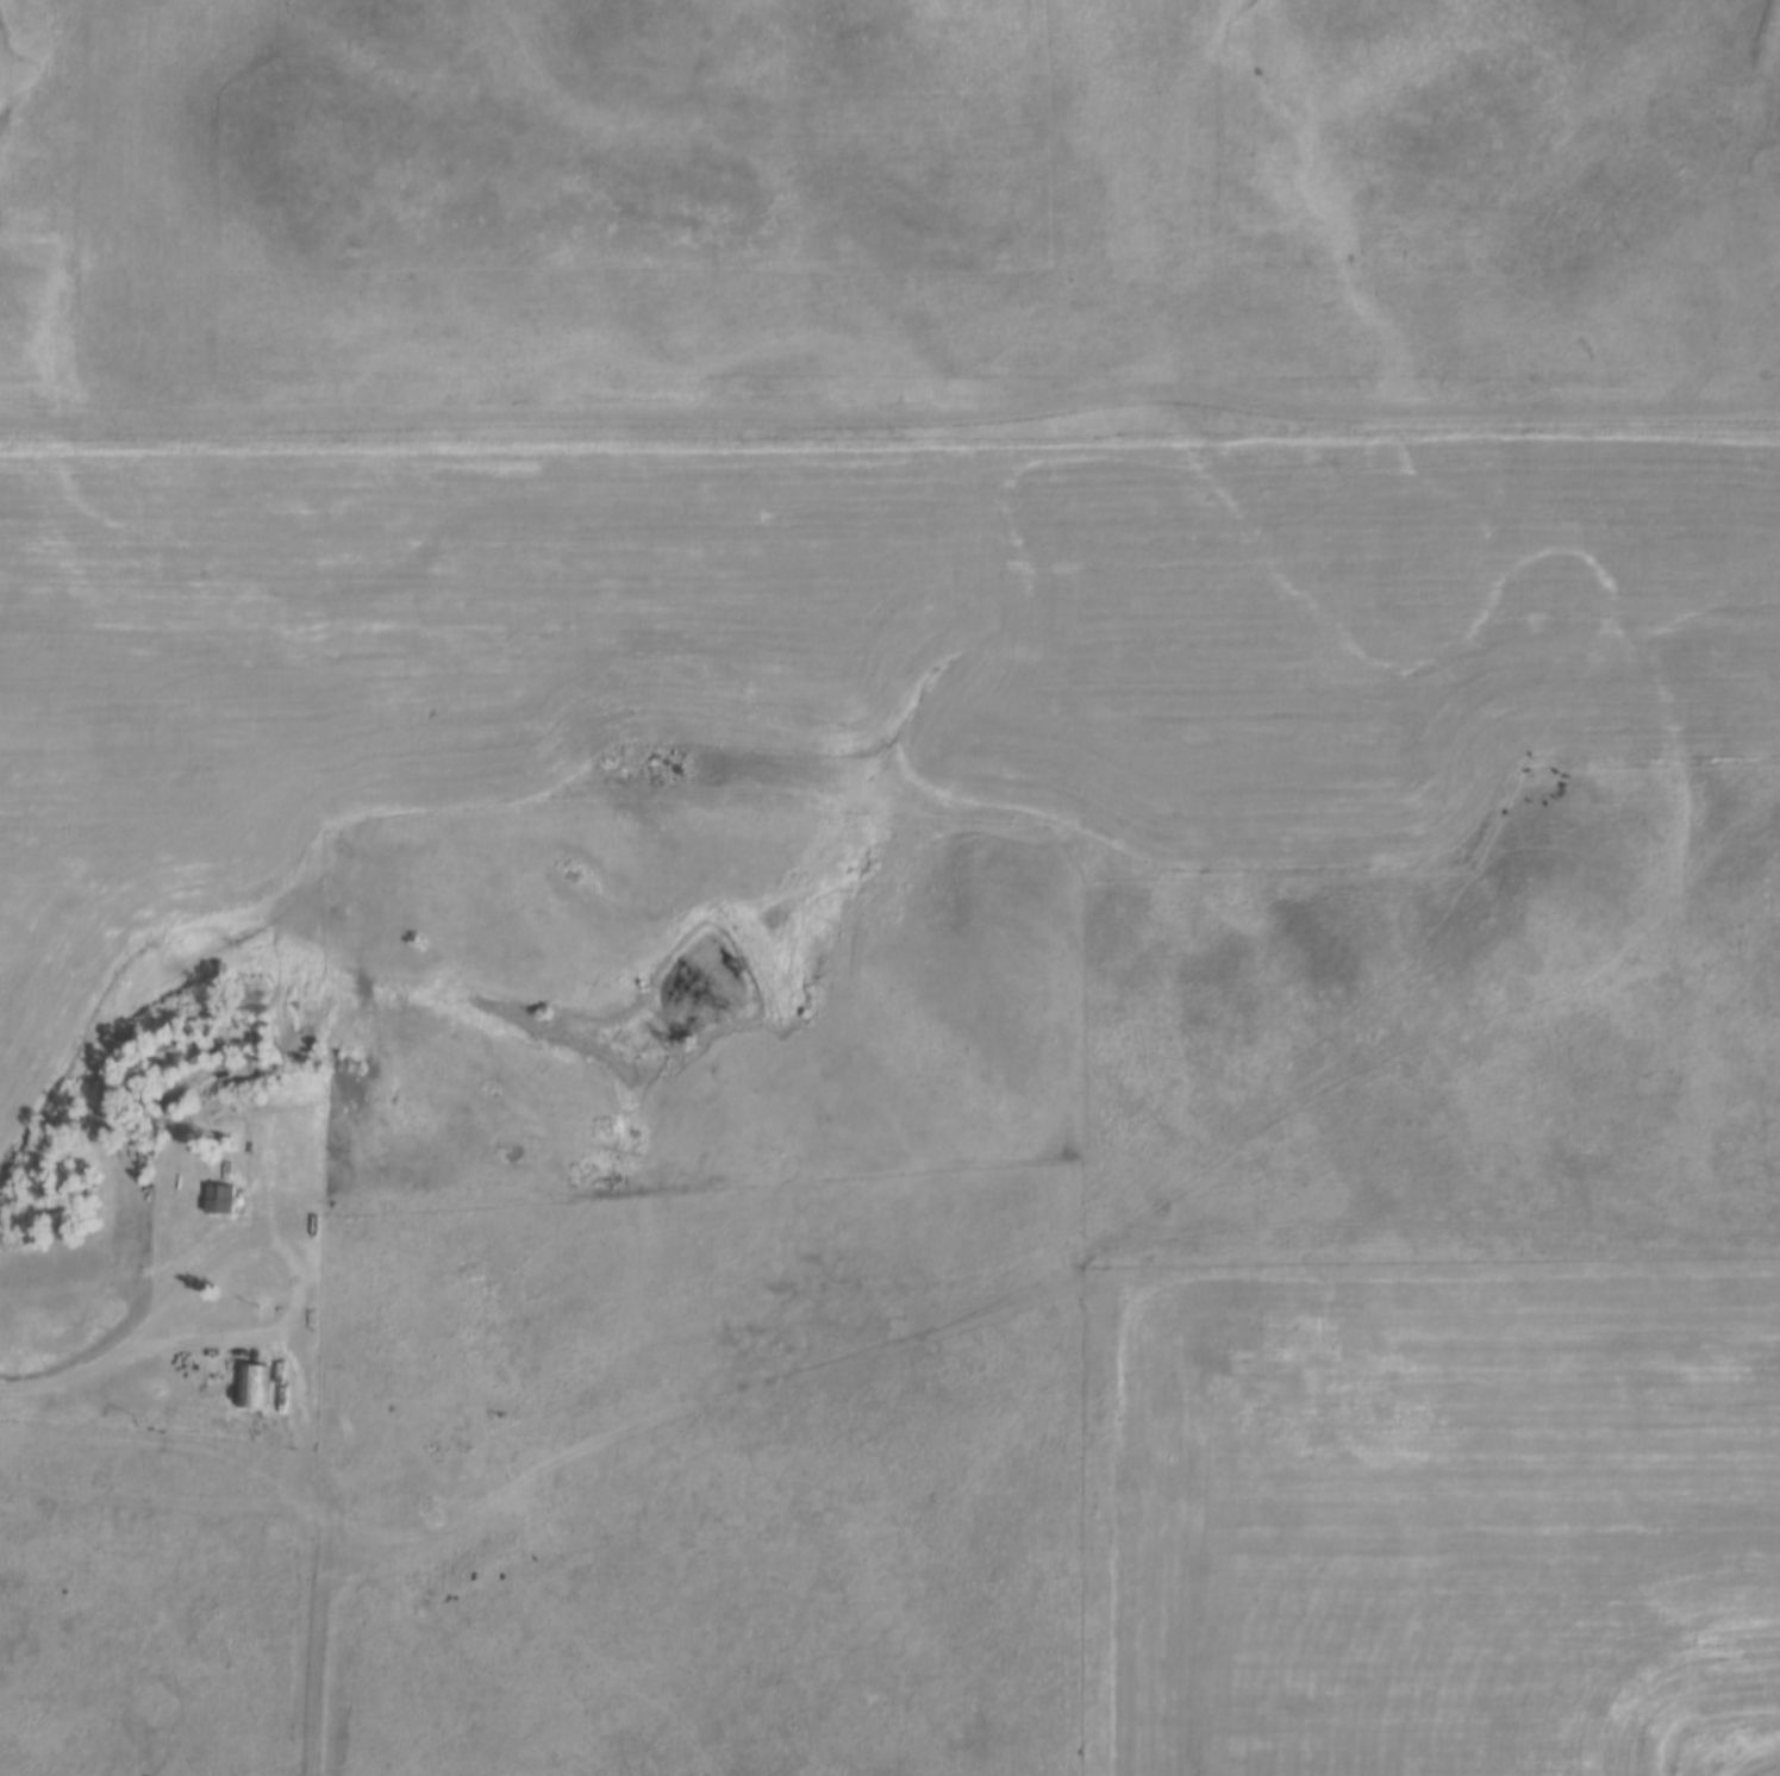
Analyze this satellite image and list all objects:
building: (419, 1146)
building: (220, 1200)
building: (348, 1230)
road: (293, 1274)
building: (360, 1275)
building: (468, 1365)
road: (60, 1374)
building: (249, 1386)
building: (337, 1387)
road: (321, 1553)

